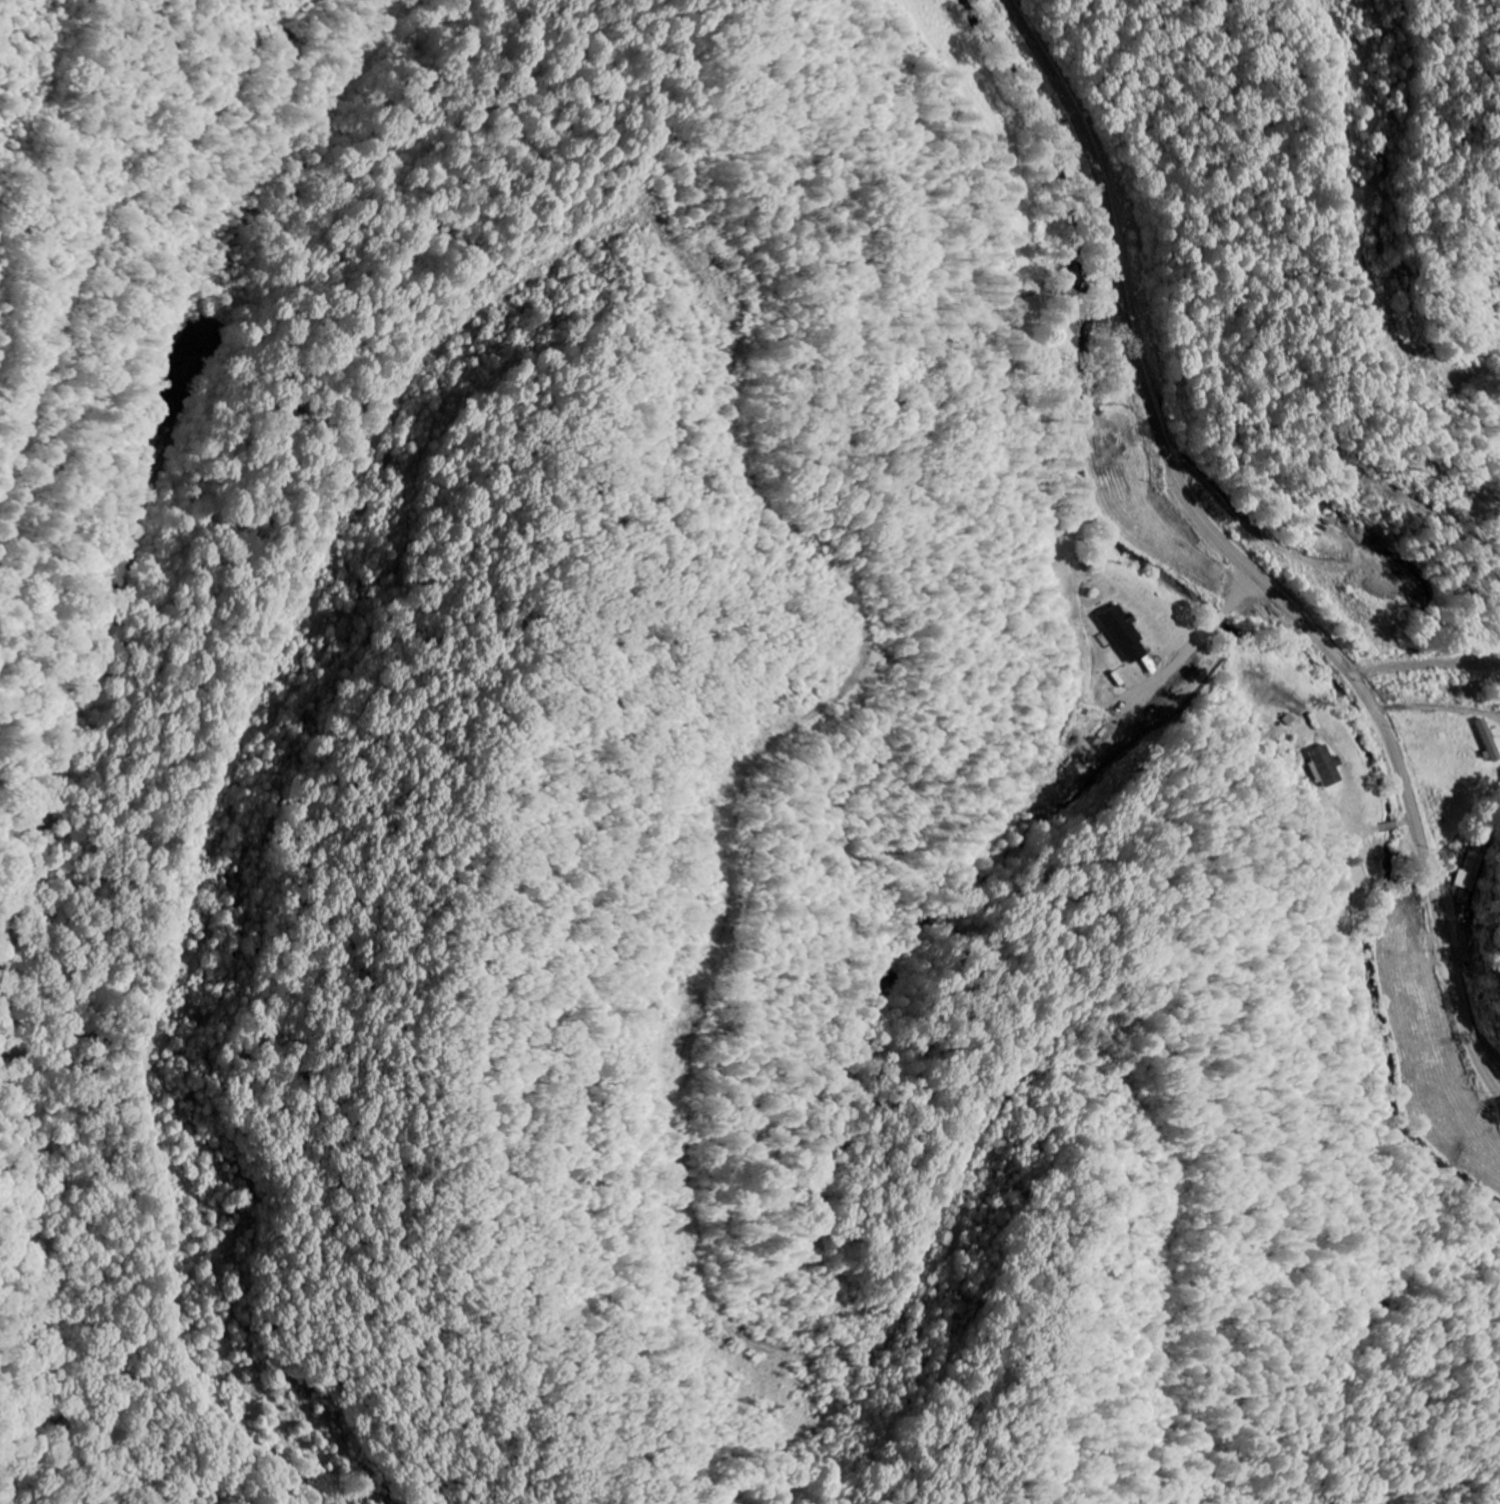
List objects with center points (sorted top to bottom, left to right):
road: (1239, 553)
building: (1120, 634)
building: (1488, 741)
building: (1323, 766)
road: (1387, 826)
building: (1474, 879)

